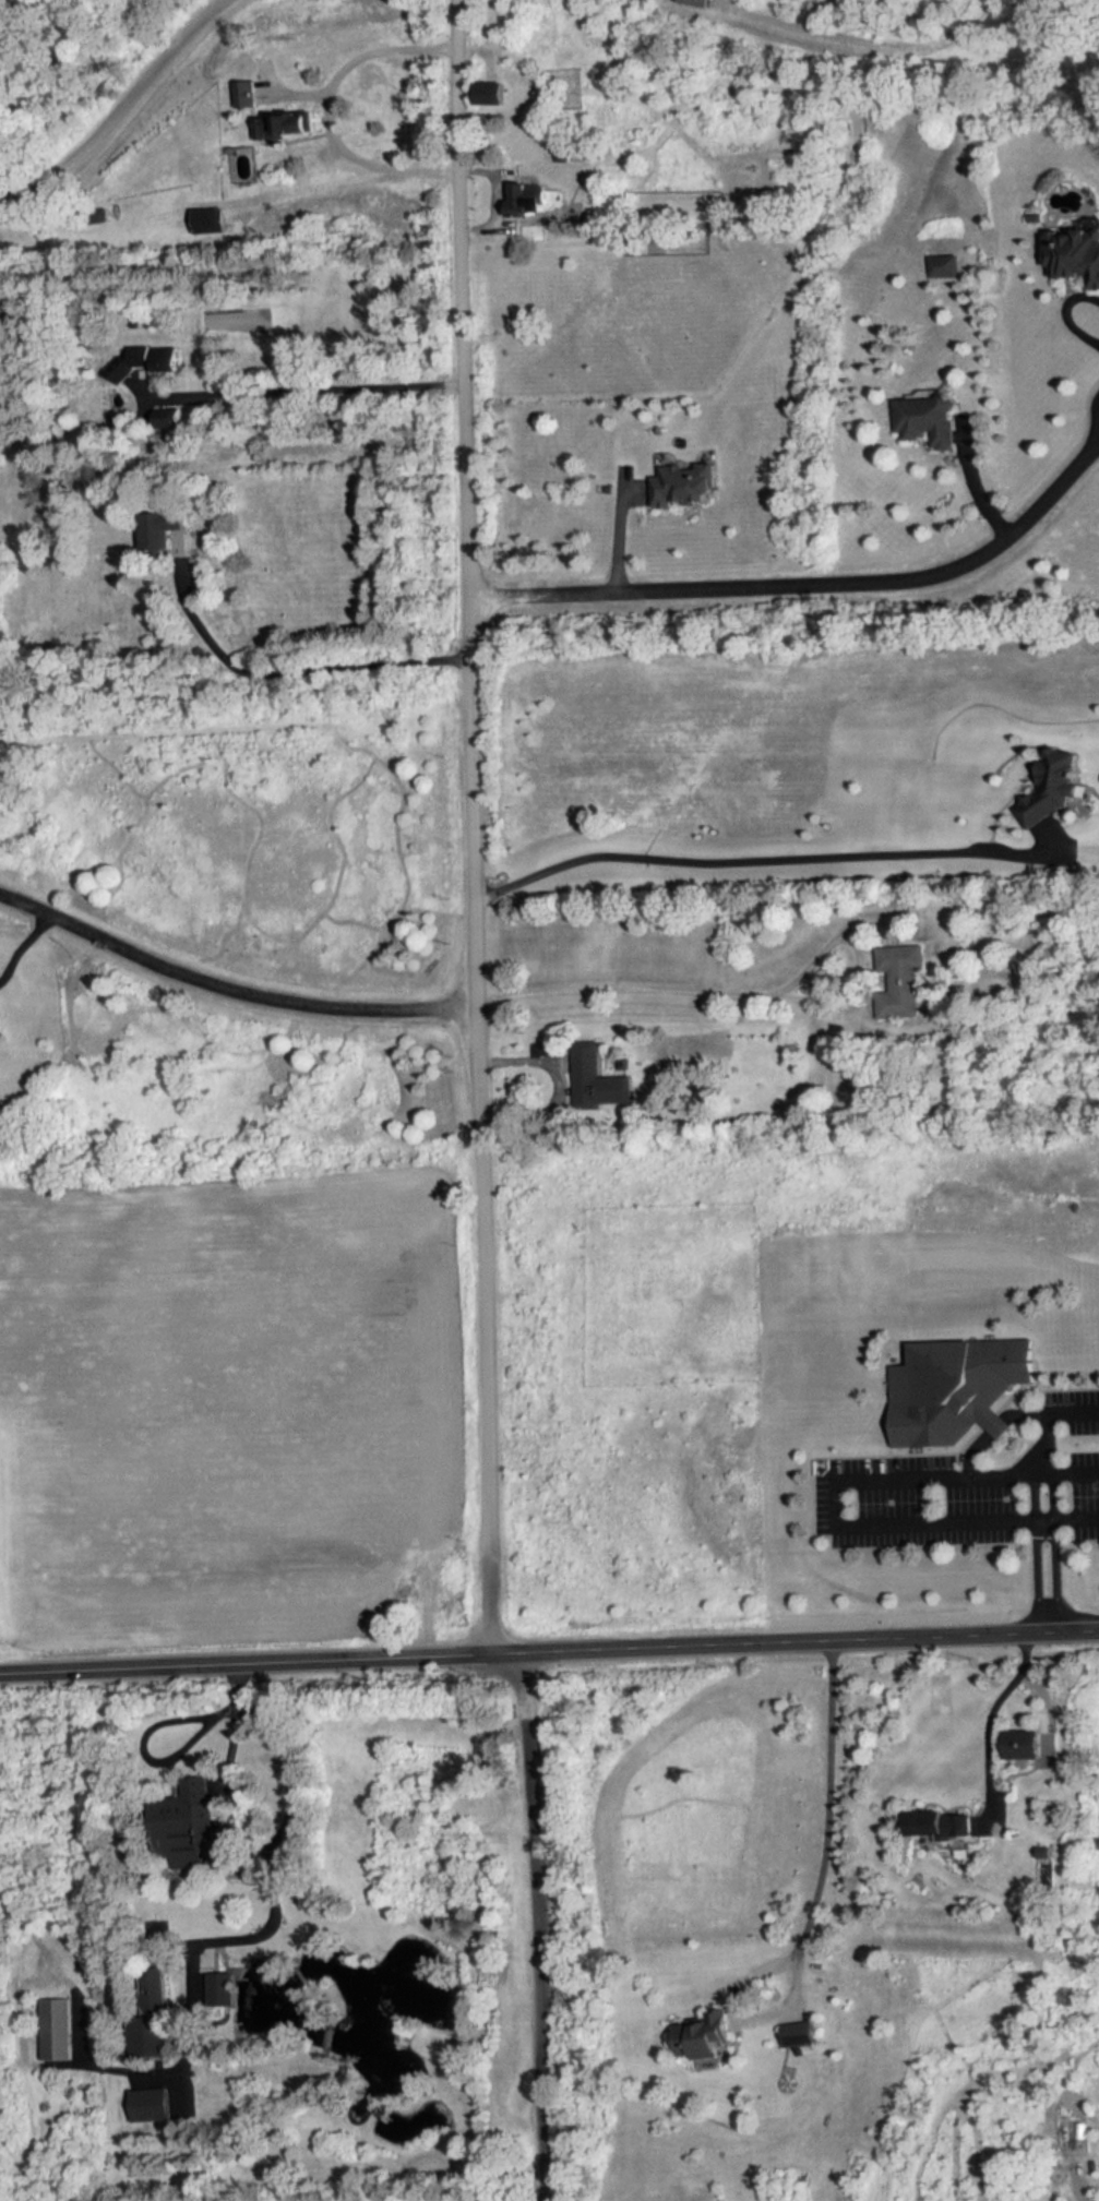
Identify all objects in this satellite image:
building: (698, 2)
road: (359, 57)
building: (491, 92)
building: (246, 93)
road: (121, 111)
building: (283, 123)
building: (564, 149)
road: (371, 163)
building: (528, 196)
road: (495, 198)
building: (99, 215)
building: (210, 218)
building: (1074, 252)
building: (944, 265)
road: (1068, 312)
building: (146, 359)
road: (308, 391)
building: (167, 416)
building: (928, 418)
building: (685, 483)
road: (973, 485)
building: (159, 528)
road: (620, 533)
road: (815, 588)
road: (300, 670)
road: (474, 774)
building: (1055, 786)
road: (761, 860)
road: (24, 944)
building: (898, 980)
road: (227, 985)
road: (664, 988)
building: (598, 1077)
building: (954, 1387)
road: (1075, 1407)
crop: (235, 1409)
road: (996, 1425)
road: (1043, 1451)
parking lot: (958, 1491)
road: (1067, 1514)
road: (843, 1520)
road: (1058, 1572)
road: (1038, 1574)
road: (492, 1599)
road: (549, 1648)
road: (990, 1720)
road: (152, 1726)
building: (1020, 1744)
building: (183, 1822)
building: (937, 1823)
road: (811, 1906)
road: (542, 1924)
road: (229, 1941)
building: (223, 1988)
building: (151, 2013)
building: (51, 2027)
road: (75, 2031)
building: (795, 2033)
building: (701, 2036)
building: (146, 2106)

